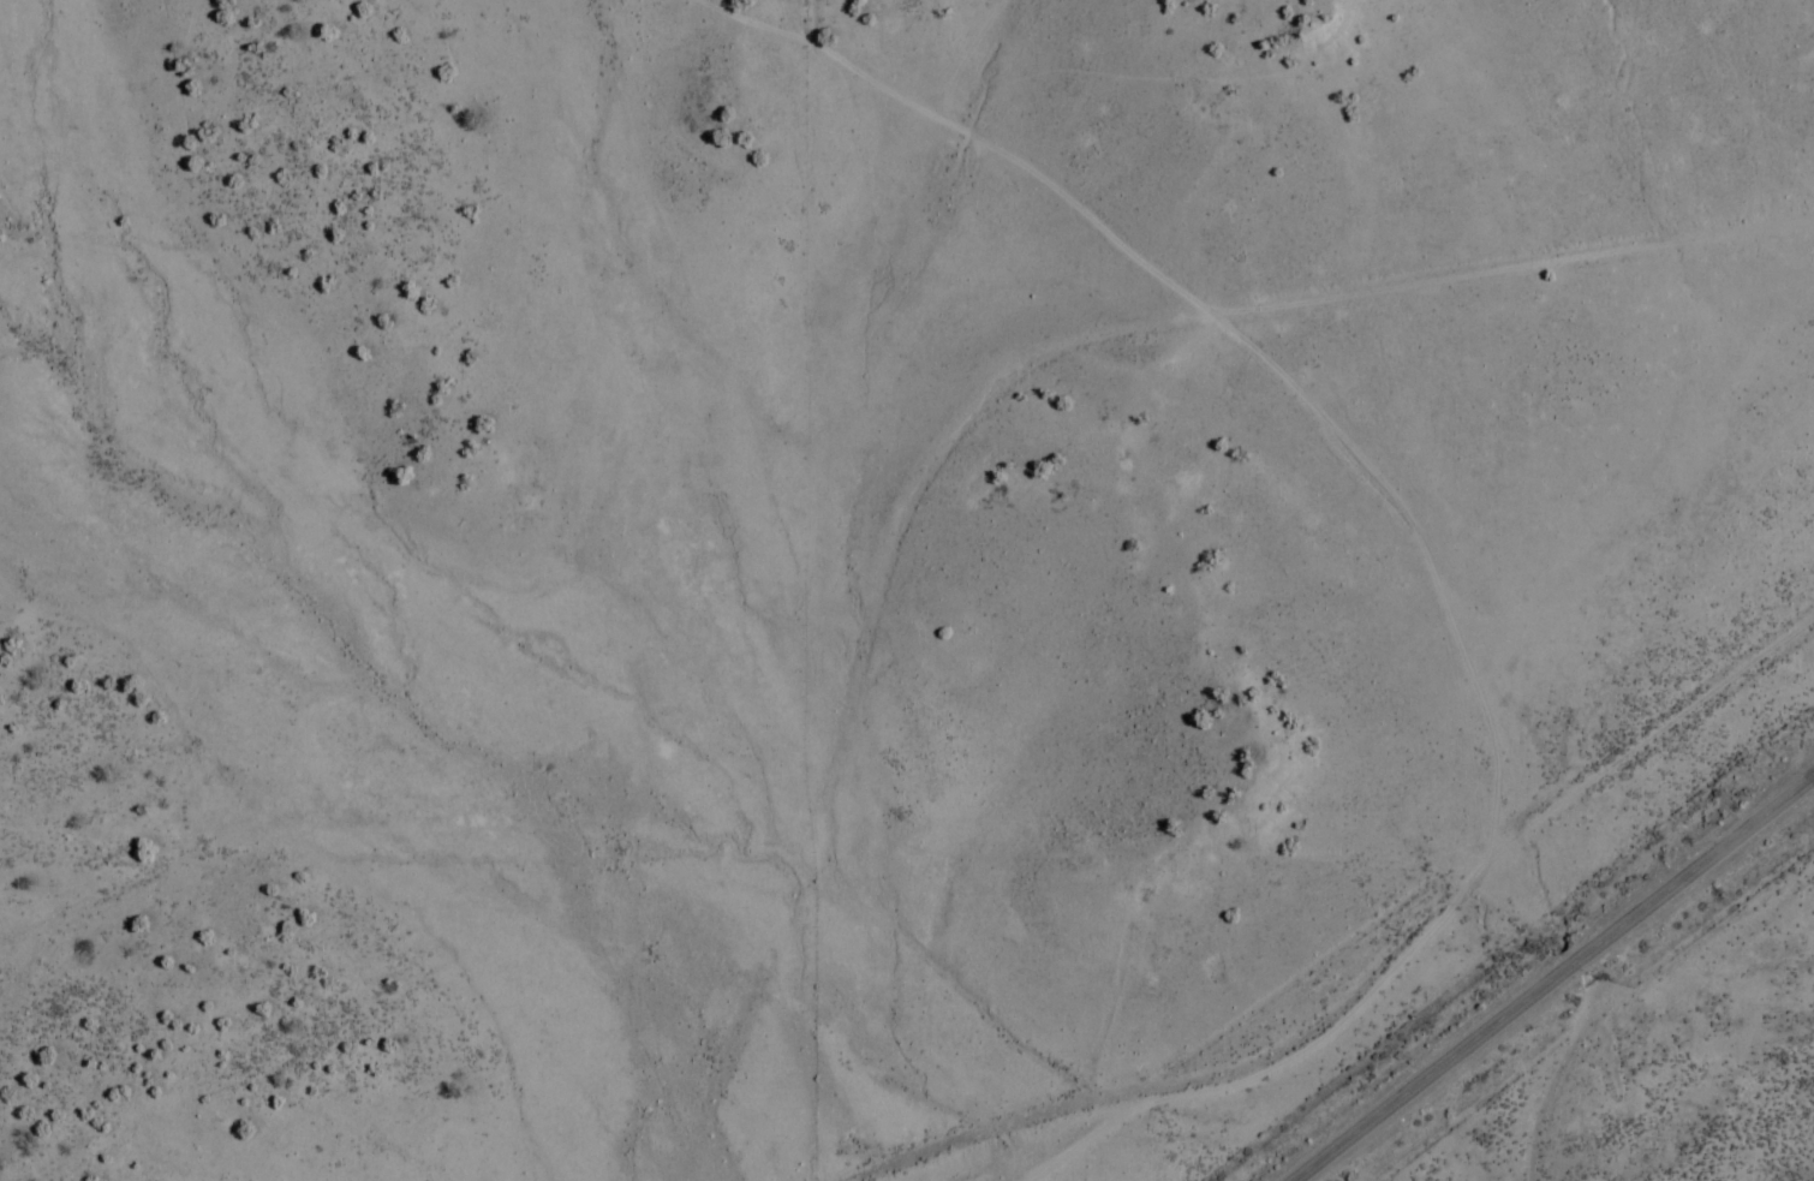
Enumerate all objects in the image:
road: (1549, 974)

